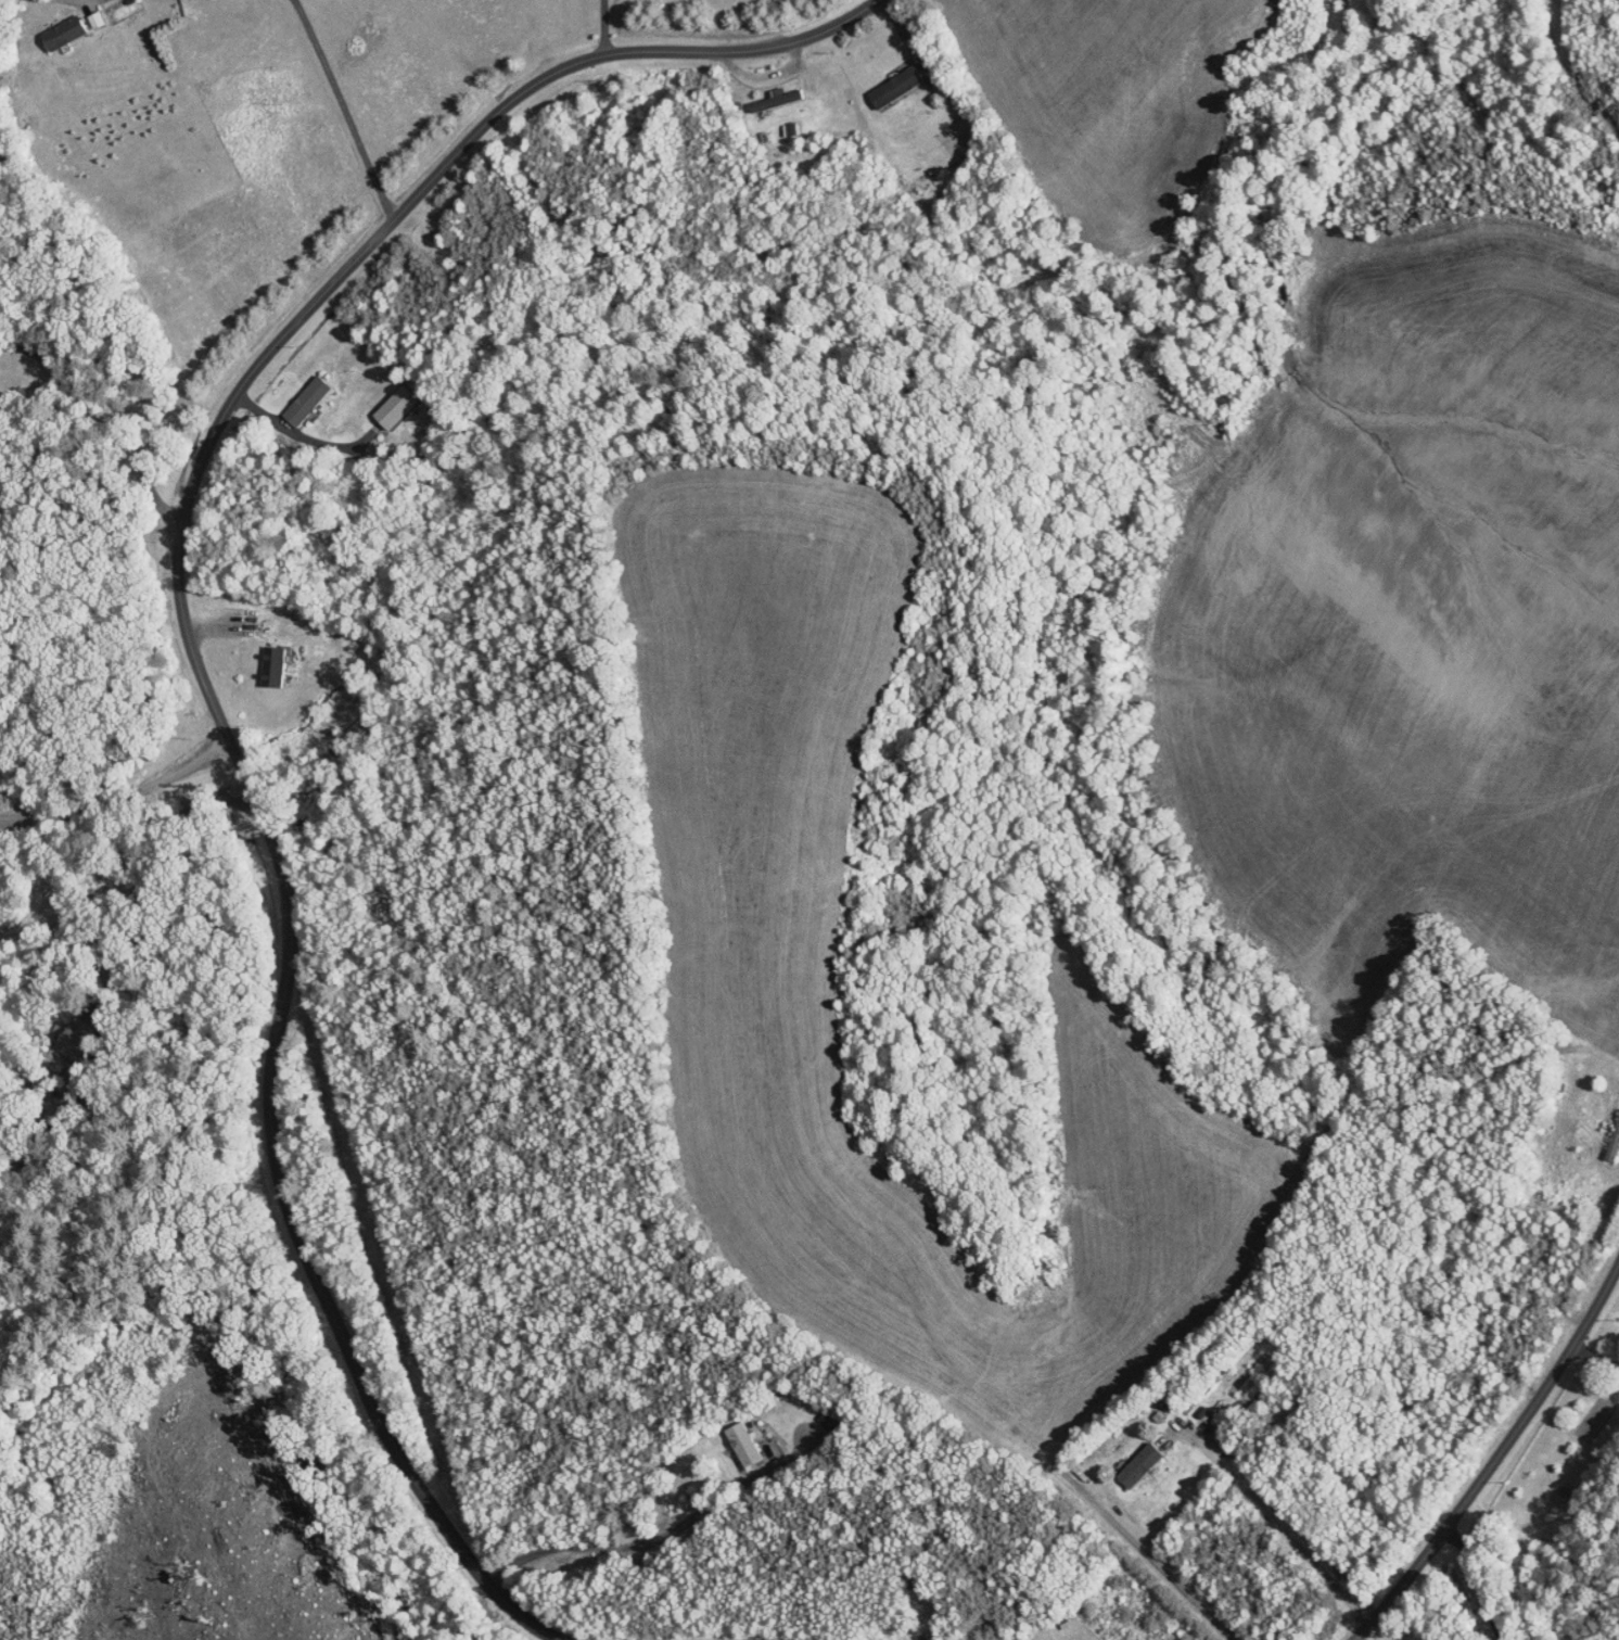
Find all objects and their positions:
building: (85, 13)
building: (55, 26)
road: (604, 26)
building: (887, 80)
road: (1566, 85)
building: (766, 92)
road: (335, 113)
building: (297, 394)
building: (383, 399)
road: (114, 407)
building: (265, 660)
road: (196, 664)
road: (1588, 1351)
building: (821, 1413)
building: (734, 1437)
road: (1488, 1441)
building: (1131, 1458)
road: (1277, 1524)
road: (621, 1547)
road: (1466, 1582)
building: (1387, 1638)

